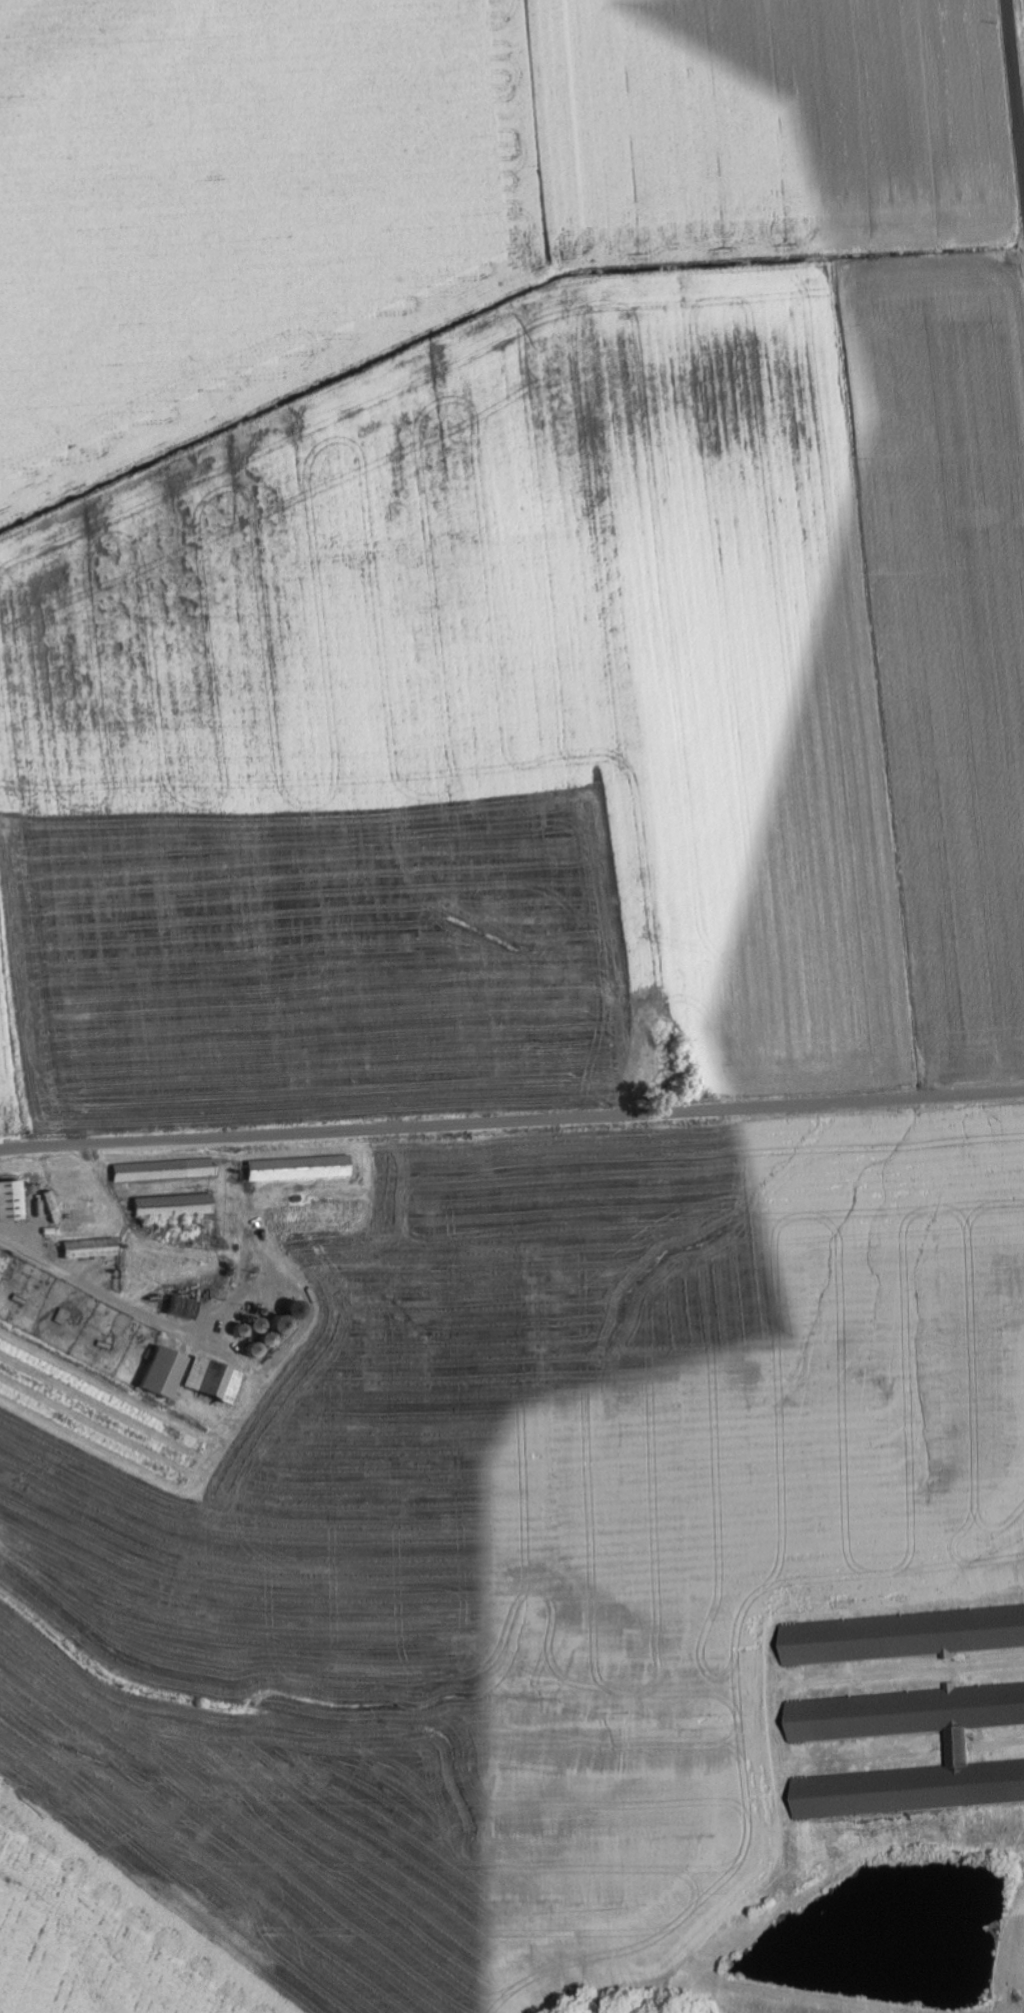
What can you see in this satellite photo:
road: (1014, 90)
road: (512, 1120)
building: (298, 1169)
building: (164, 1170)
building: (10, 1201)
building: (172, 1206)
building: (52, 1207)
building: (88, 1249)
road: (96, 1285)
building: (62, 1316)
building: (185, 1378)
building: (901, 1636)
building: (958, 1751)

